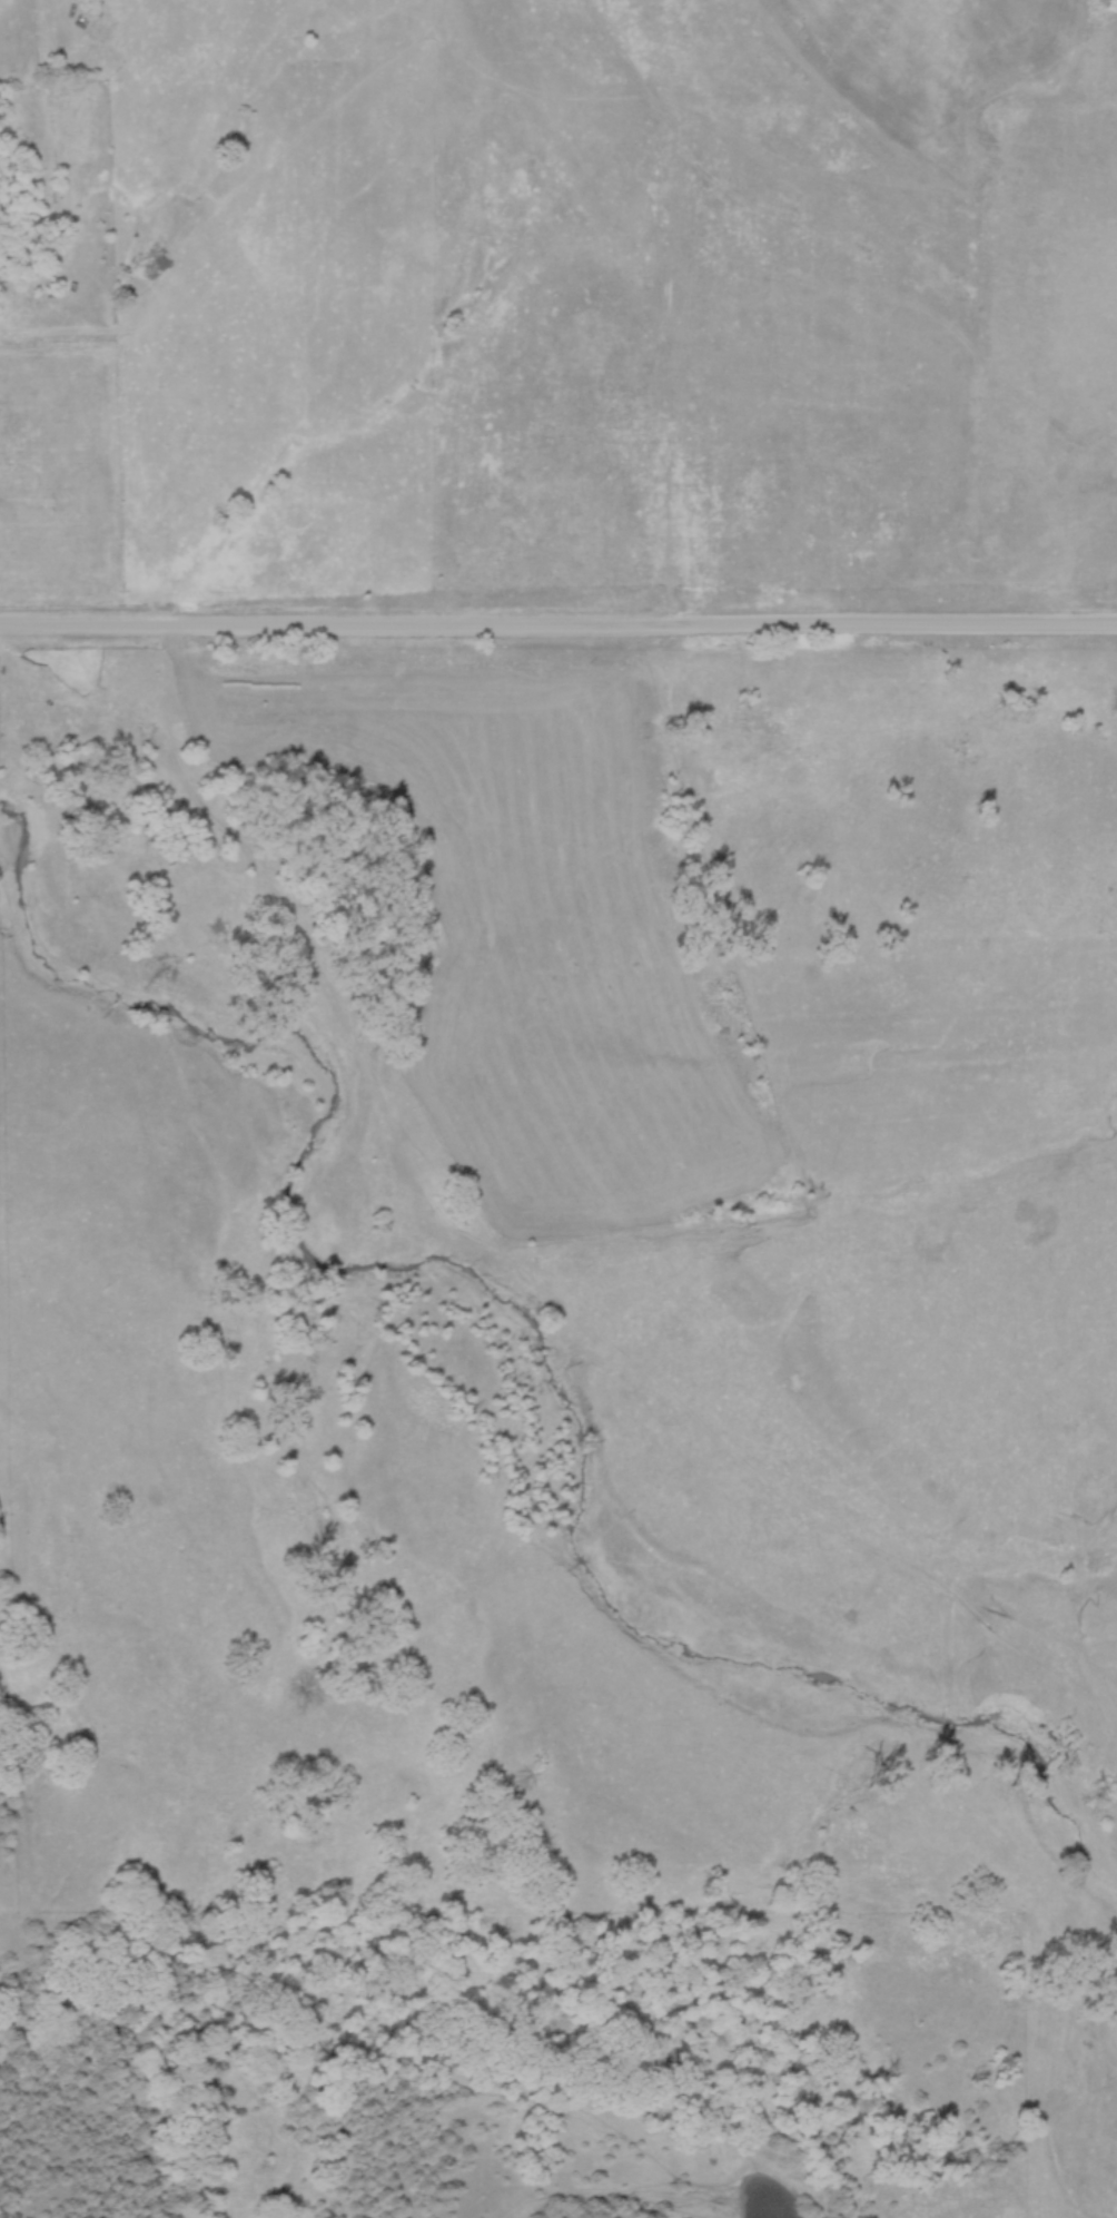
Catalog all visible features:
road: (558, 630)

